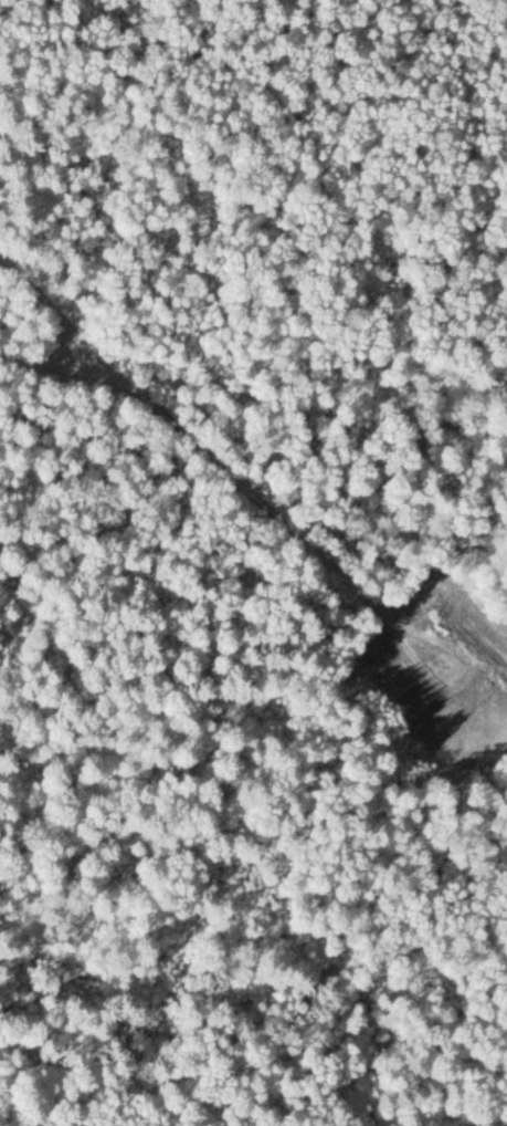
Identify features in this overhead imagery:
road: (57, 312)
road: (221, 466)
petroleum well: (450, 664)

